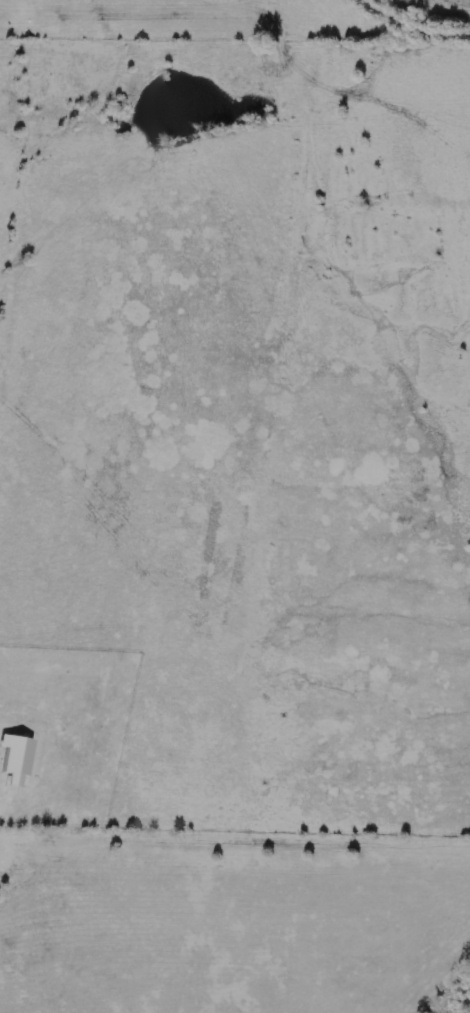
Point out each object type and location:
building: (16, 759)

